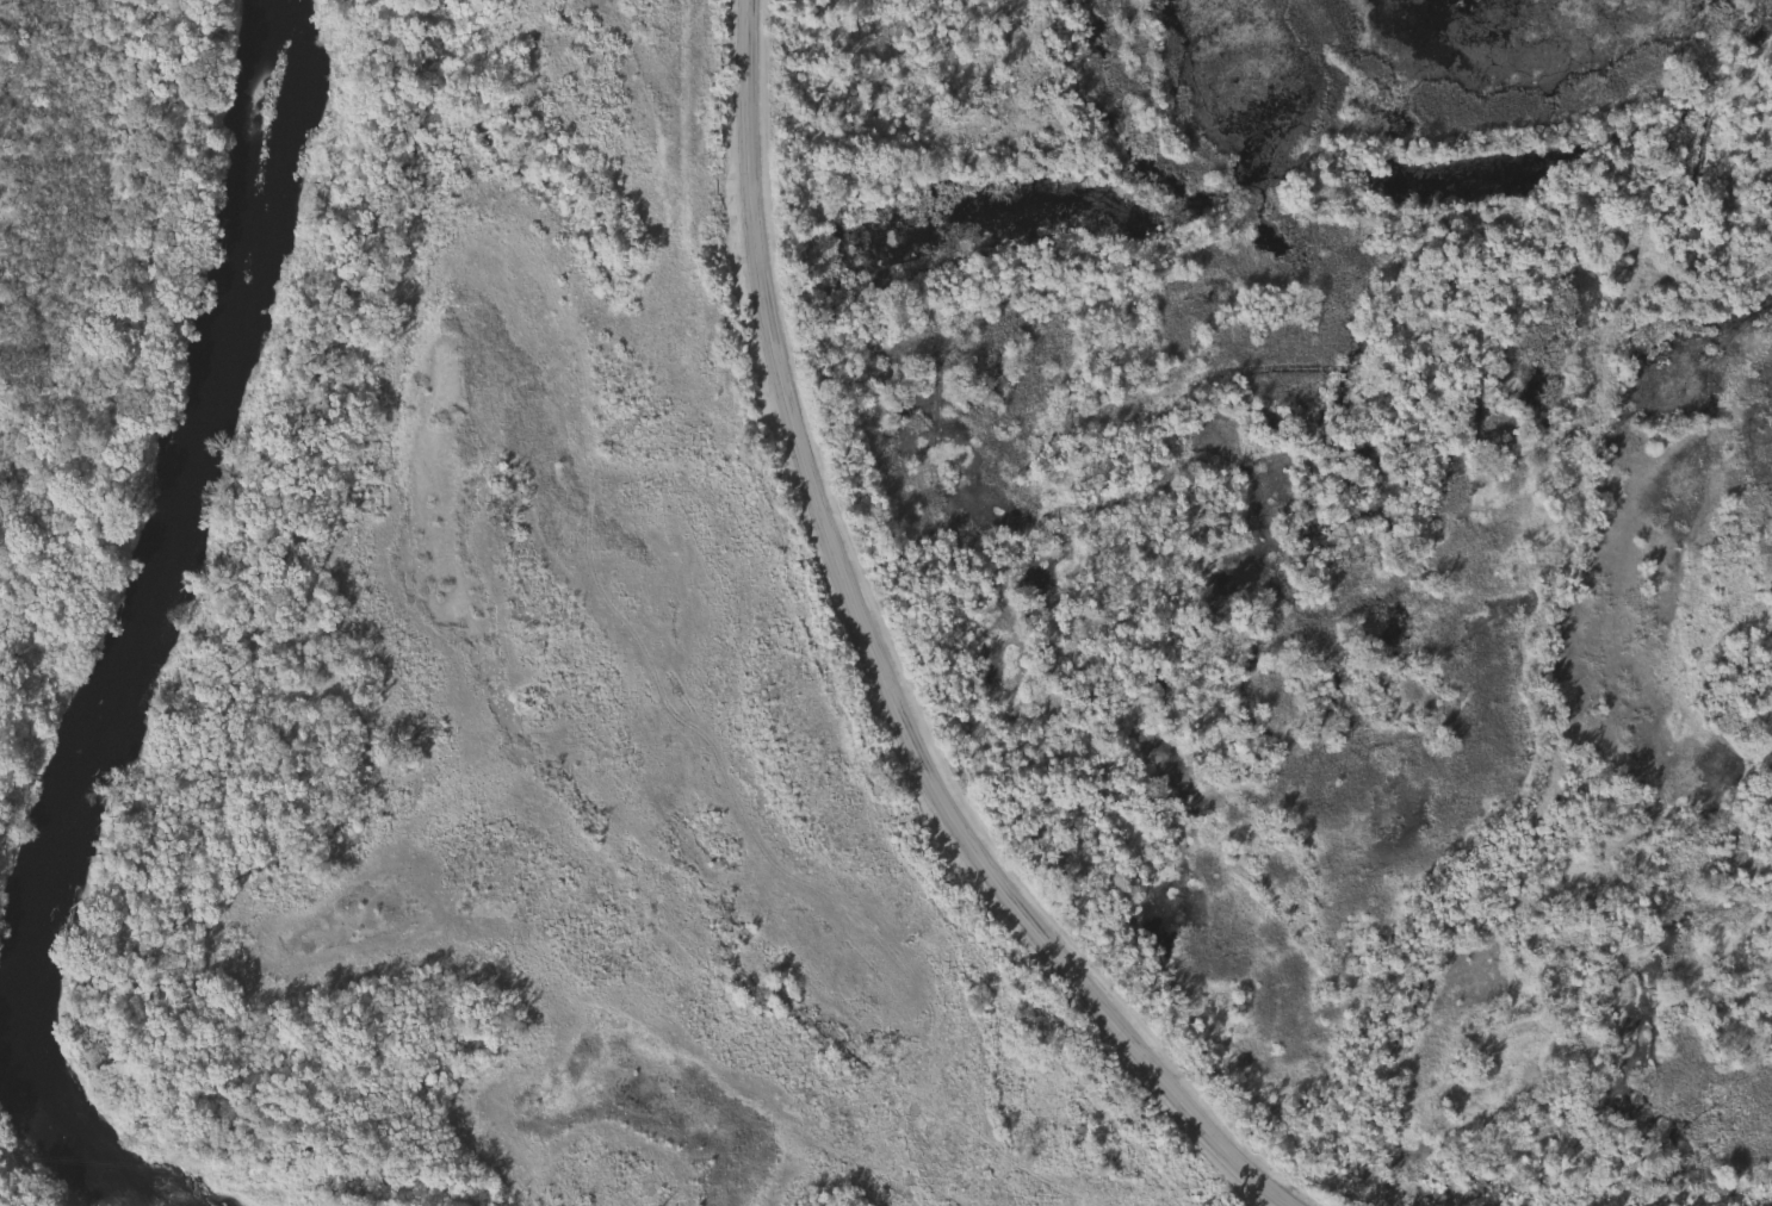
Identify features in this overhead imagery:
river: (137, 633)
road: (880, 666)

